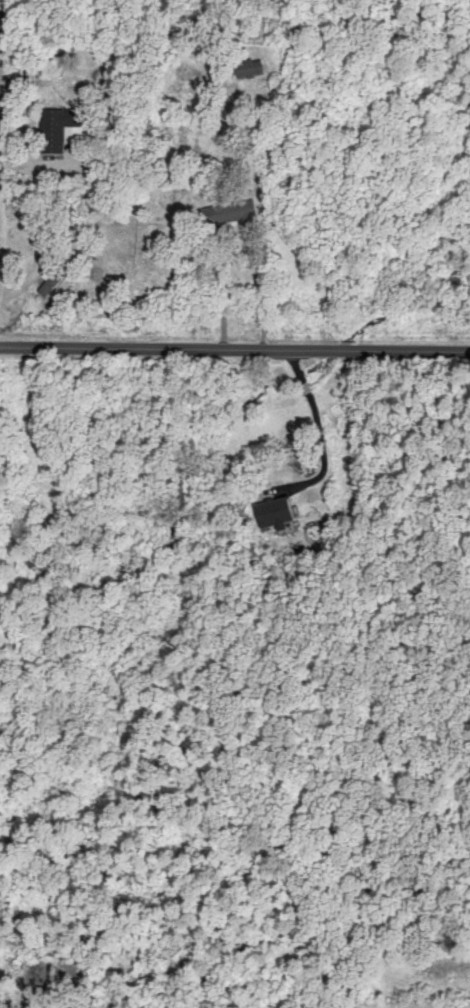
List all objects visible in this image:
building: (246, 66)
road: (1, 76)
building: (57, 126)
building: (240, 209)
road: (110, 223)
road: (238, 228)
building: (51, 277)
road: (235, 349)
road: (315, 434)
building: (269, 511)

